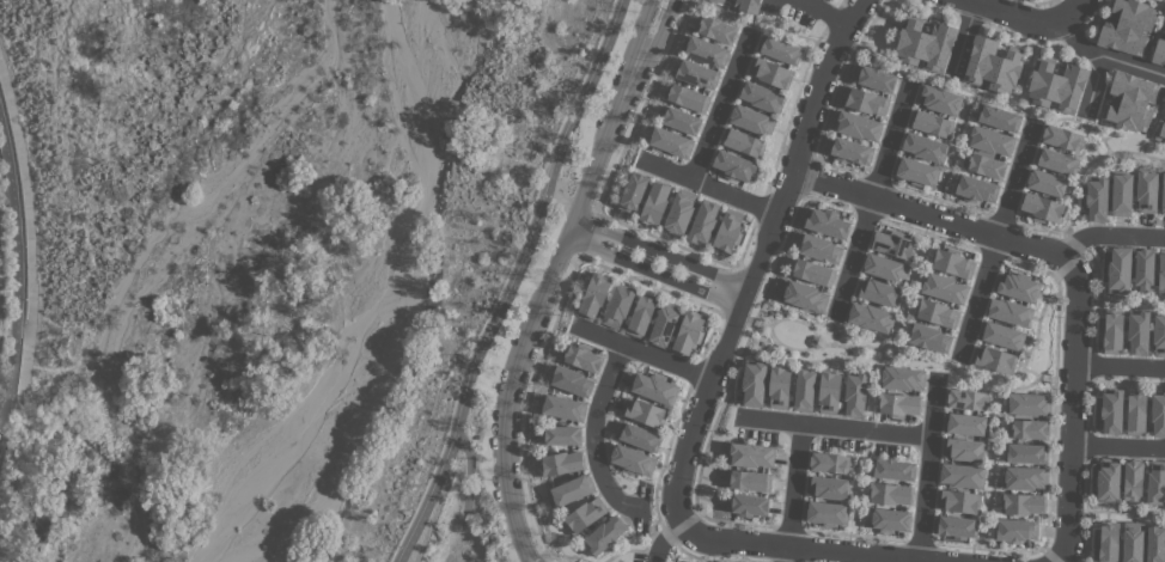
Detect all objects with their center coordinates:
road: (974, 0)
building: (719, 1)
building: (748, 5)
road: (823, 12)
road: (1026, 19)
building: (1164, 22)
building: (1127, 26)
building: (714, 28)
building: (925, 43)
building: (779, 49)
building: (705, 50)
building: (1159, 51)
road: (1105, 60)
building: (993, 65)
building: (770, 72)
building: (695, 73)
building: (874, 78)
building: (1056, 84)
building: (687, 97)
building: (762, 97)
building: (938, 98)
building: (866, 100)
building: (1130, 100)
road: (640, 105)
building: (1164, 106)
road: (718, 110)
building: (998, 117)
building: (679, 118)
building: (751, 120)
building: (929, 123)
building: (858, 124)
building: (1160, 130)
building: (1062, 138)
building: (989, 140)
building: (669, 141)
building: (743, 141)
road: (886, 142)
building: (925, 146)
building: (849, 149)
building: (1056, 160)
building: (984, 164)
building: (734, 165)
building: (915, 171)
road: (1012, 182)
building: (1049, 183)
building: (975, 188)
road: (713, 189)
building: (1147, 189)
building: (633, 191)
building: (1122, 193)
building: (1163, 193)
road: (561, 197)
building: (1096, 197)
building: (654, 202)
building: (1042, 207)
building: (679, 212)
building: (825, 221)
building: (703, 222)
building: (728, 231)
road: (1105, 237)
building: (893, 243)
building: (819, 248)
road: (661, 252)
road: (764, 252)
road: (849, 257)
building: (952, 262)
building: (885, 267)
building: (1143, 268)
building: (1118, 269)
building: (812, 270)
building: (1161, 271)
road: (553, 273)
road: (654, 274)
road: (14, 275)
road: (1068, 275)
road: (510, 281)
building: (1017, 286)
building: (943, 287)
building: (878, 291)
building: (594, 294)
road: (975, 294)
building: (804, 295)
building: (618, 305)
building: (1010, 311)
building: (935, 312)
building: (642, 314)
building: (871, 317)
building: (664, 324)
building: (1112, 330)
building: (688, 331)
building: (1139, 331)
building: (1159, 332)
building: (1001, 335)
building: (928, 337)
road: (646, 352)
building: (581, 356)
building: (994, 358)
road: (1120, 365)
building: (901, 378)
building: (571, 379)
building: (752, 383)
building: (779, 385)
building: (654, 386)
building: (804, 389)
building: (829, 390)
building: (854, 392)
building: (966, 399)
building: (897, 403)
building: (1027, 403)
building: (562, 407)
building: (1111, 410)
building: (644, 411)
building: (1136, 413)
building: (1158, 413)
road: (525, 415)
building: (965, 423)
road: (832, 427)
building: (1027, 428)
building: (561, 434)
road: (594, 434)
building: (639, 436)
building: (964, 448)
road: (1118, 448)
building: (1025, 453)
building: (750, 454)
building: (632, 459)
building: (561, 463)
building: (829, 463)
building: (892, 469)
road: (926, 471)
building: (962, 475)
building: (1024, 477)
building: (749, 479)
building: (1133, 479)
building: (1108, 481)
building: (1155, 483)
road: (793, 484)
building: (828, 487)
building: (571, 489)
building: (888, 493)
building: (958, 501)
building: (748, 503)
building: (1023, 503)
building: (825, 512)
building: (585, 514)
building: (888, 519)
building: (954, 526)
building: (1015, 530)
building: (604, 534)
building: (1108, 540)
building: (1133, 542)
building: (1155, 543)
road: (799, 548)
road: (524, 554)
road: (786, 554)
road: (542, 557)
road: (1067, 558)
road: (915, 561)

